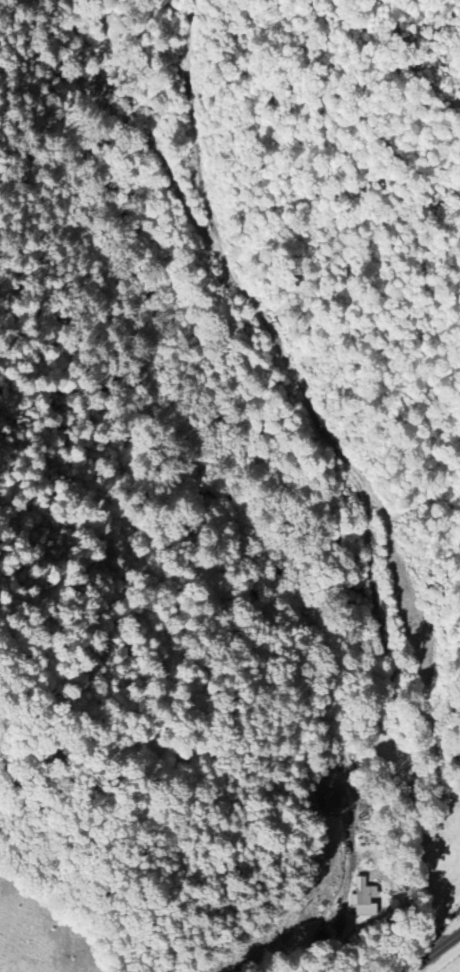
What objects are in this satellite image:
road: (350, 467)
building: (363, 890)
road: (435, 952)

